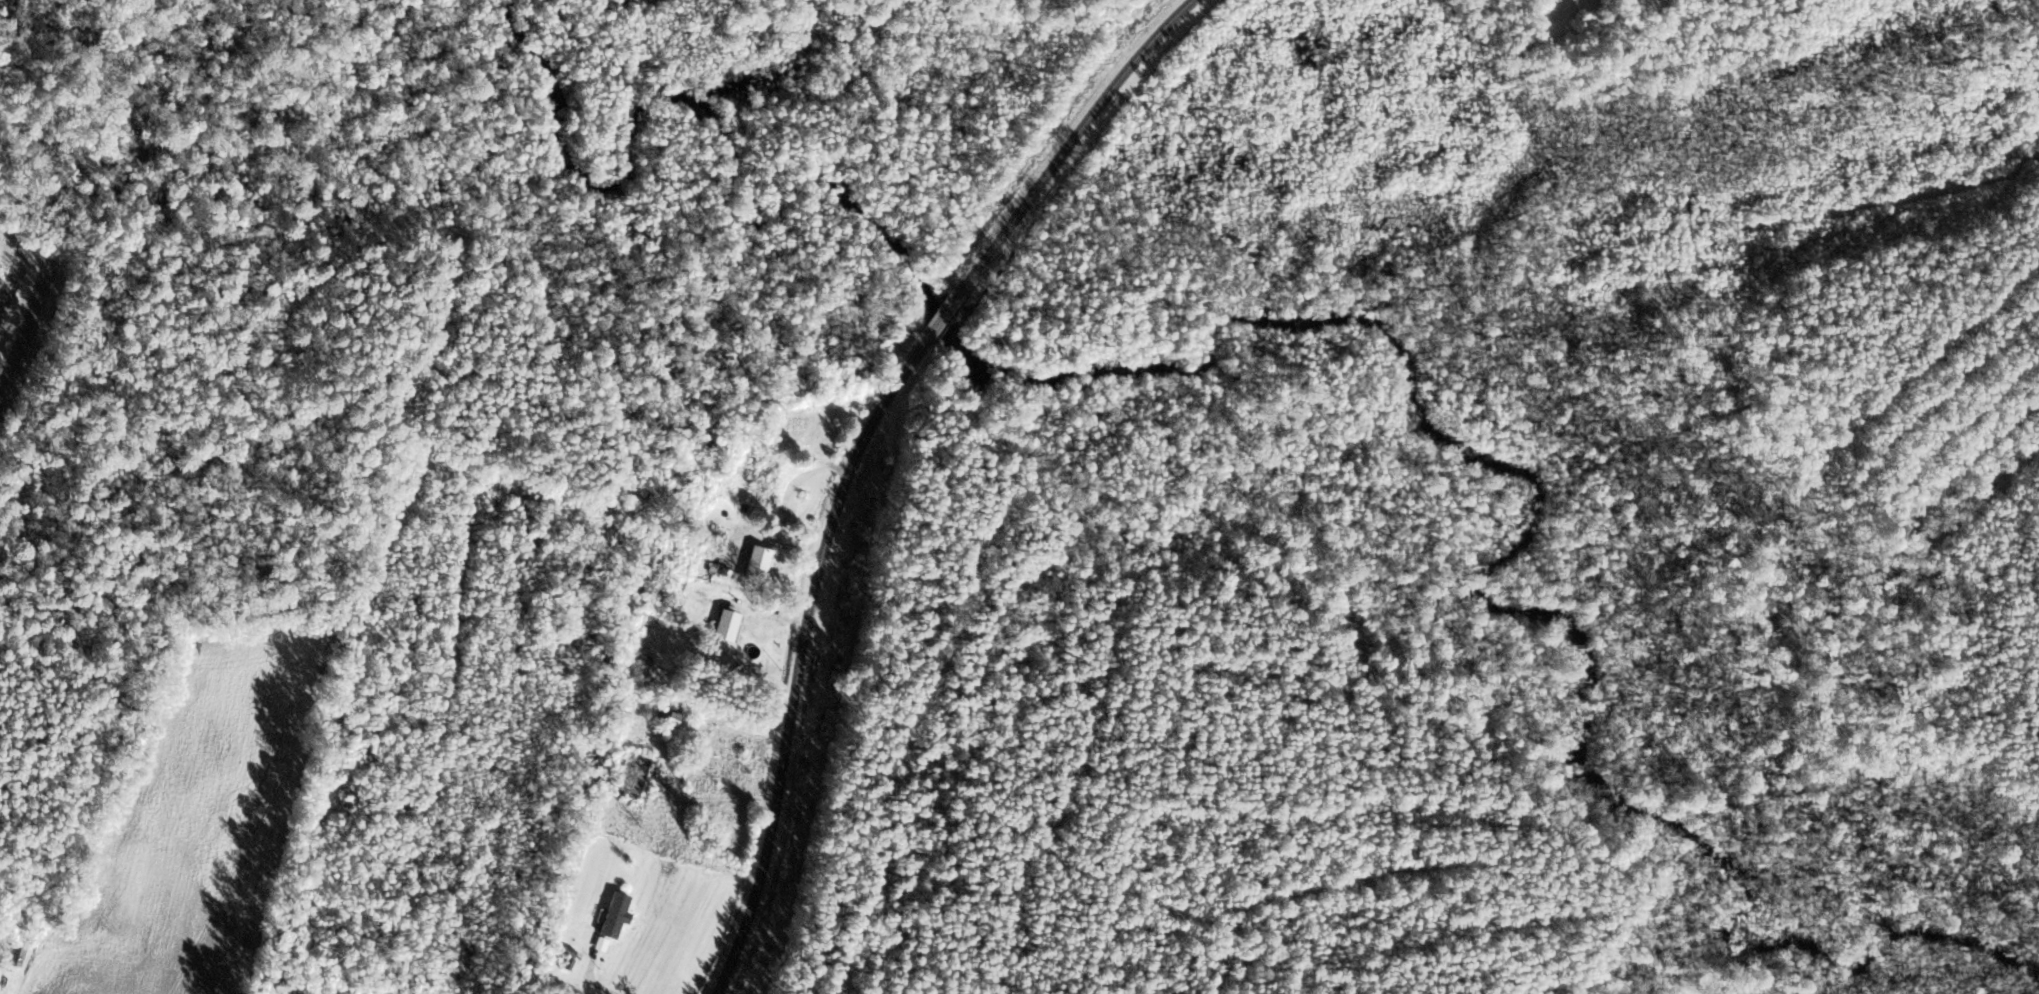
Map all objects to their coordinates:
road: (1081, 135)
road: (948, 307)
building: (761, 484)
building: (756, 564)
building: (726, 625)
road: (804, 654)
building: (671, 713)
building: (615, 915)
building: (13, 956)

